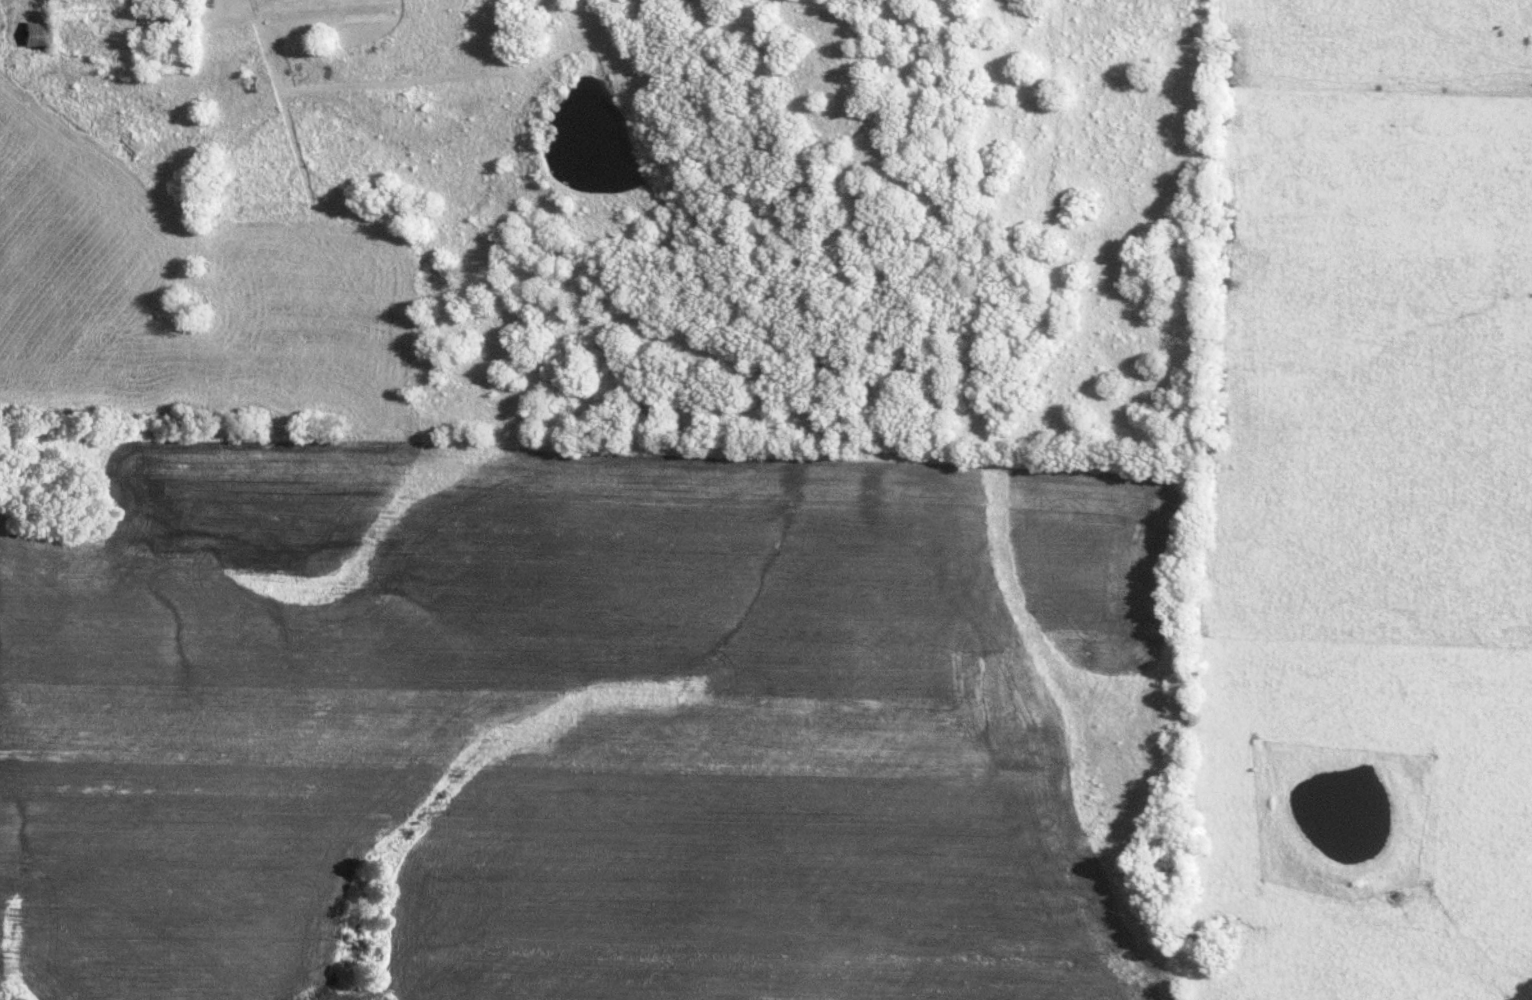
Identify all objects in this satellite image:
building: (156, 20)
building: (30, 33)

